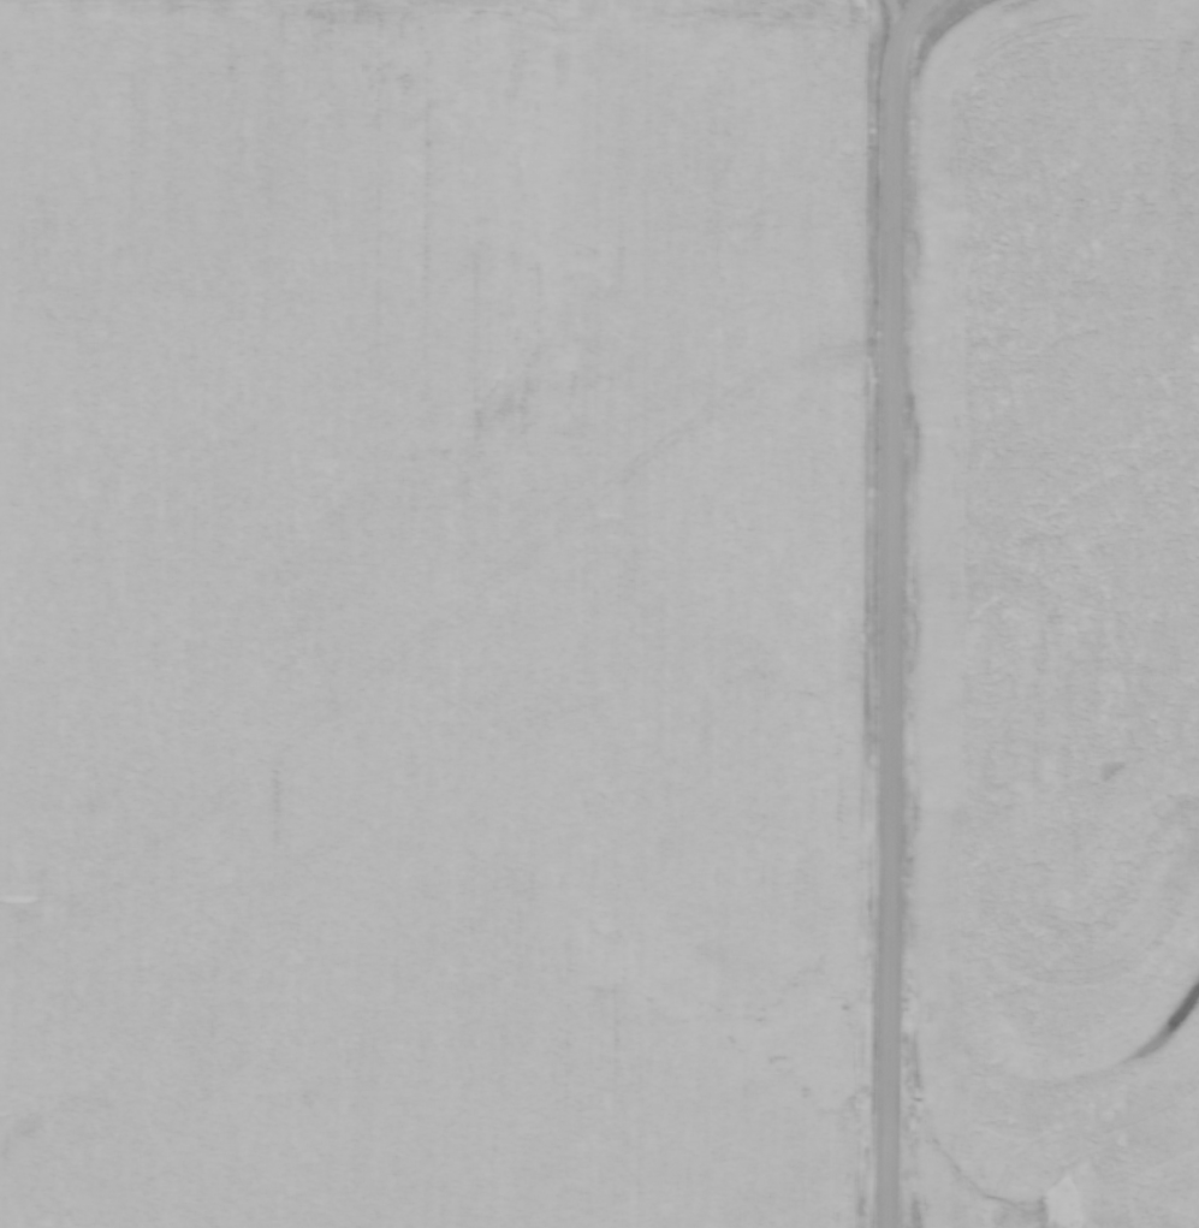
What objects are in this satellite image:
road: (886, 609)

